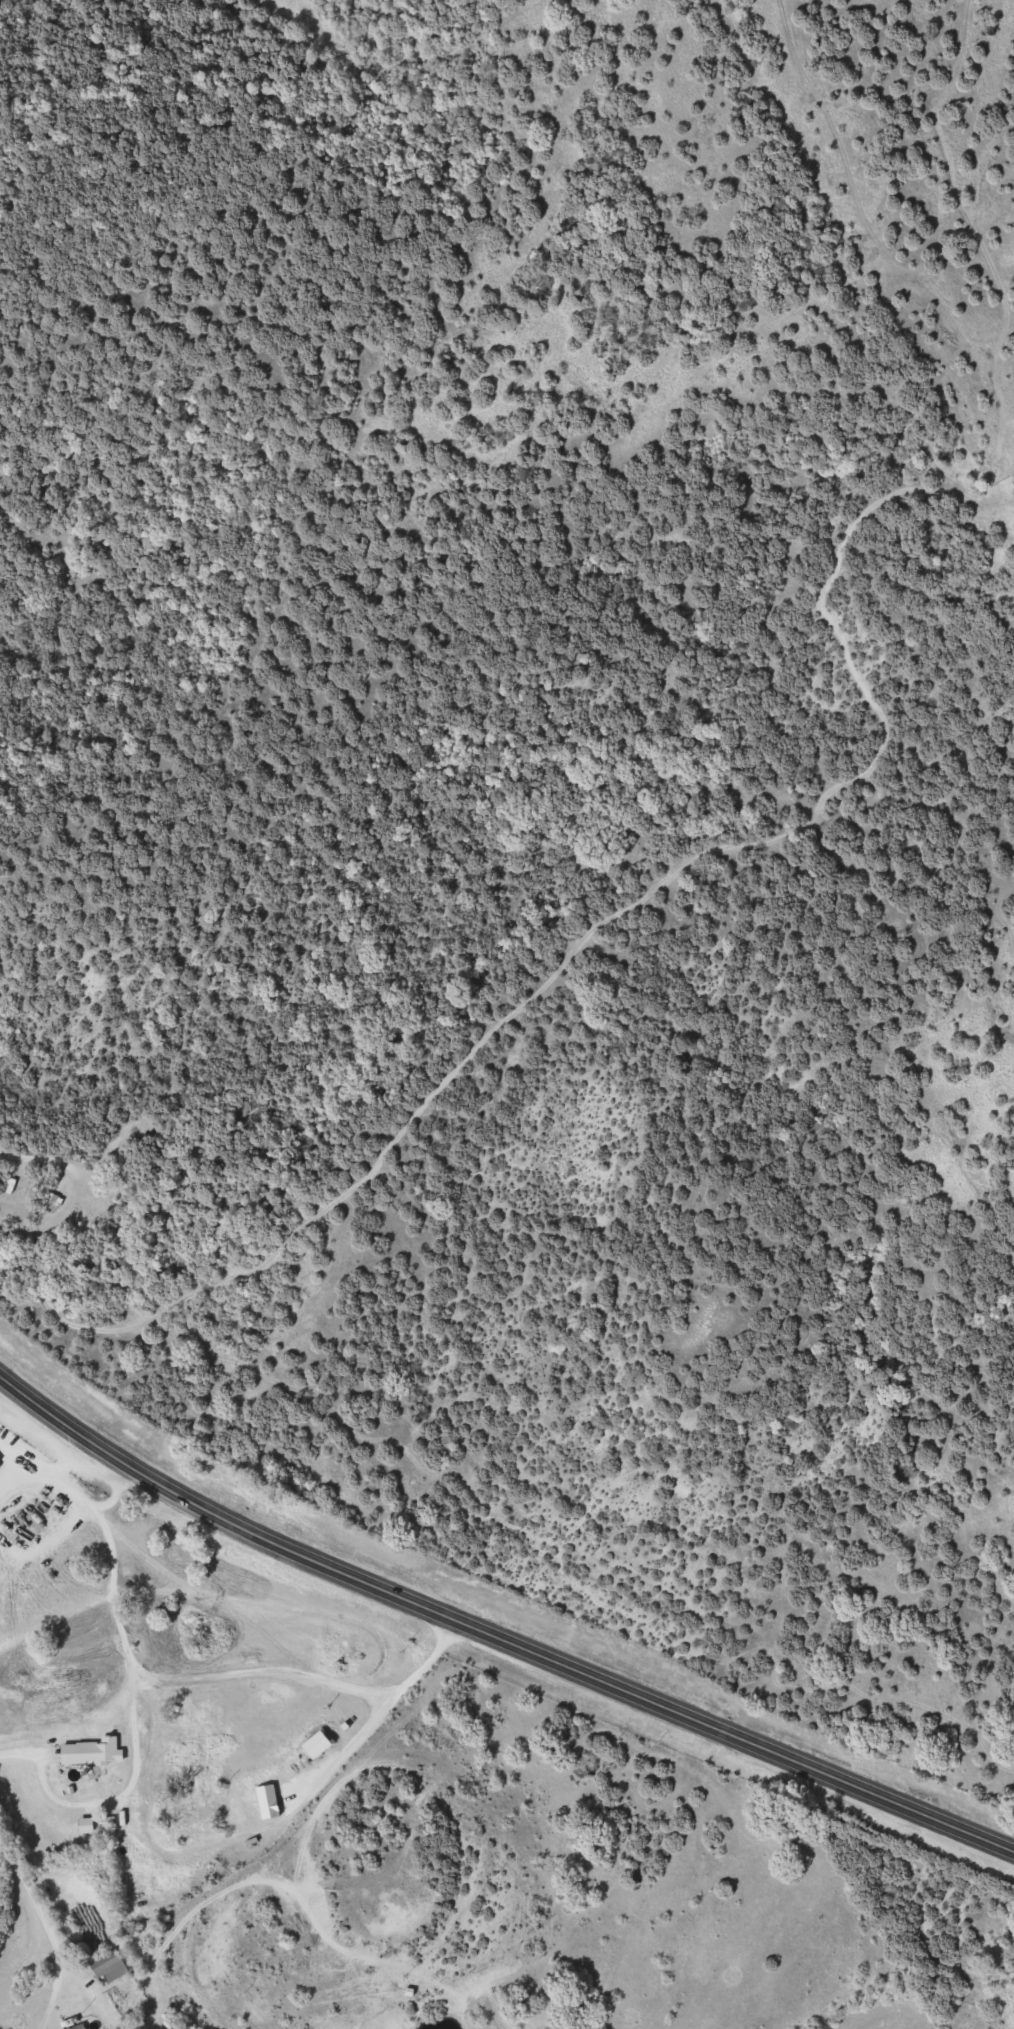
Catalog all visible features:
road: (468, 926)
building: (48, 1197)
road: (493, 1632)
road: (289, 1703)
building: (312, 1742)
building: (90, 1748)
road: (352, 1782)
building: (264, 1799)
building: (106, 1964)
building: (77, 2026)

